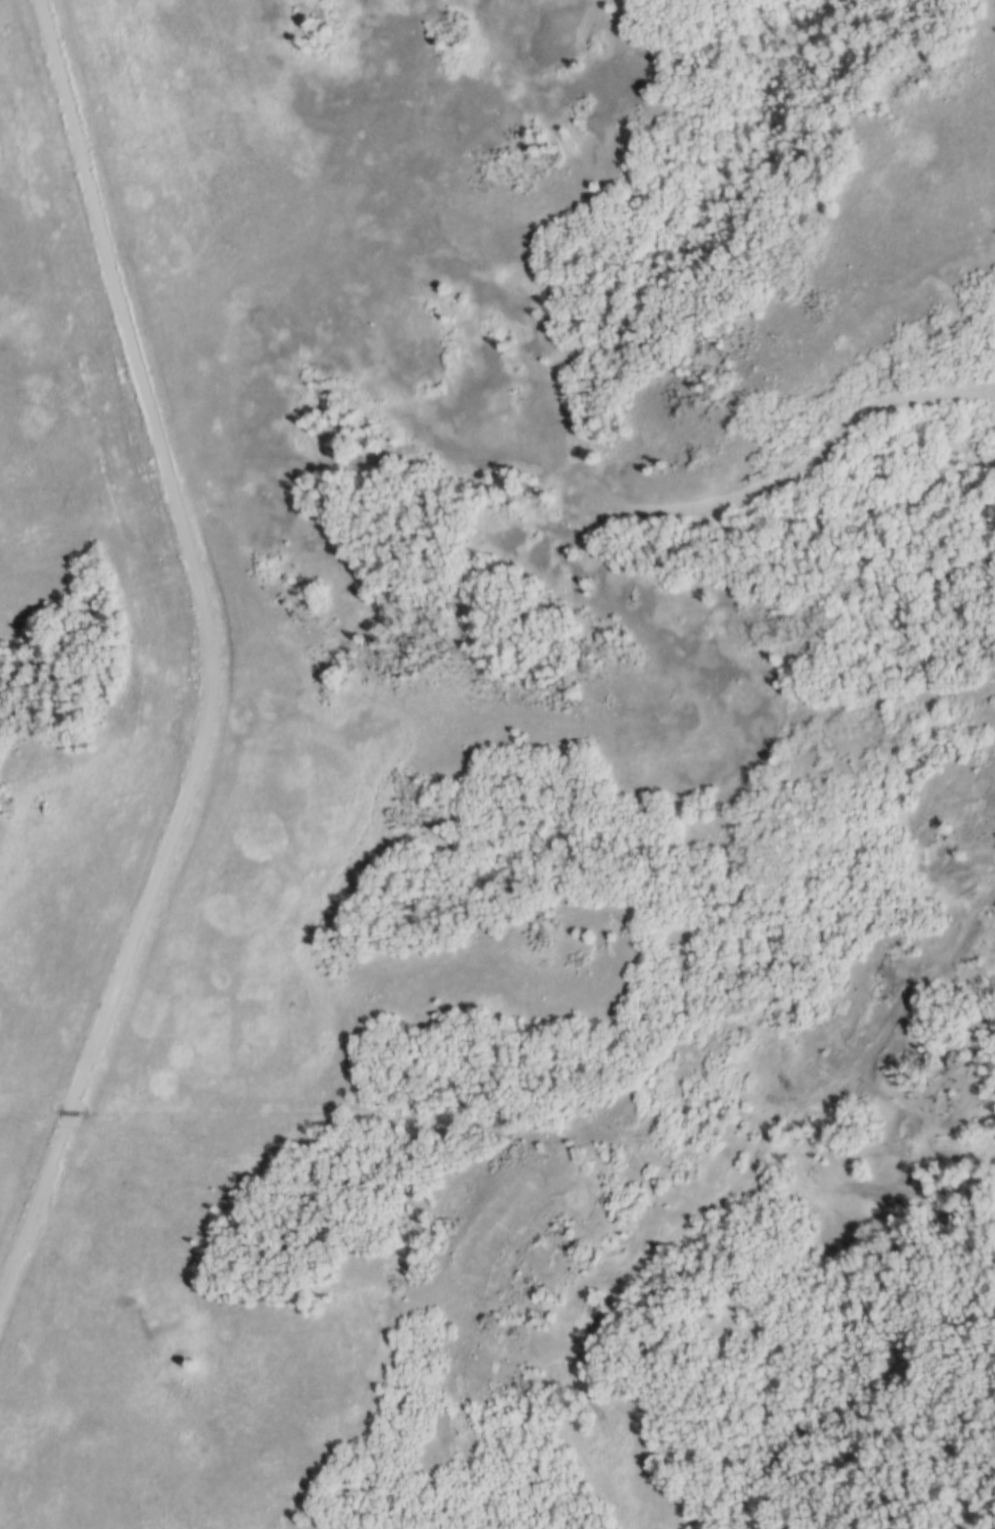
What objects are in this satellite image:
road: (593, 494)
road: (205, 647)

